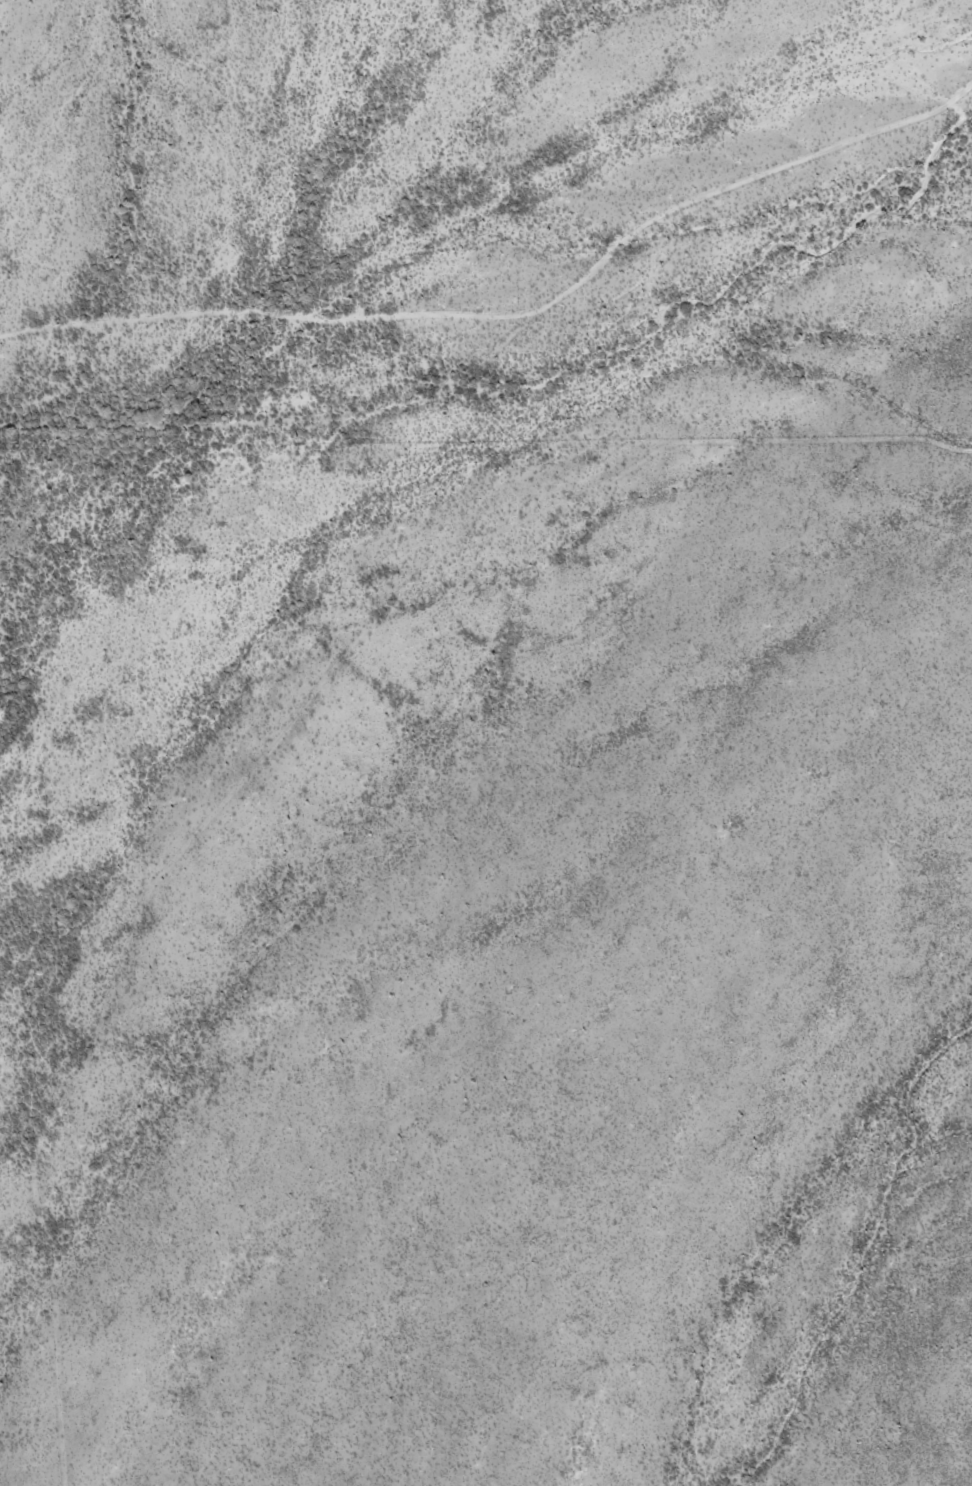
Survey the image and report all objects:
road: (511, 341)

